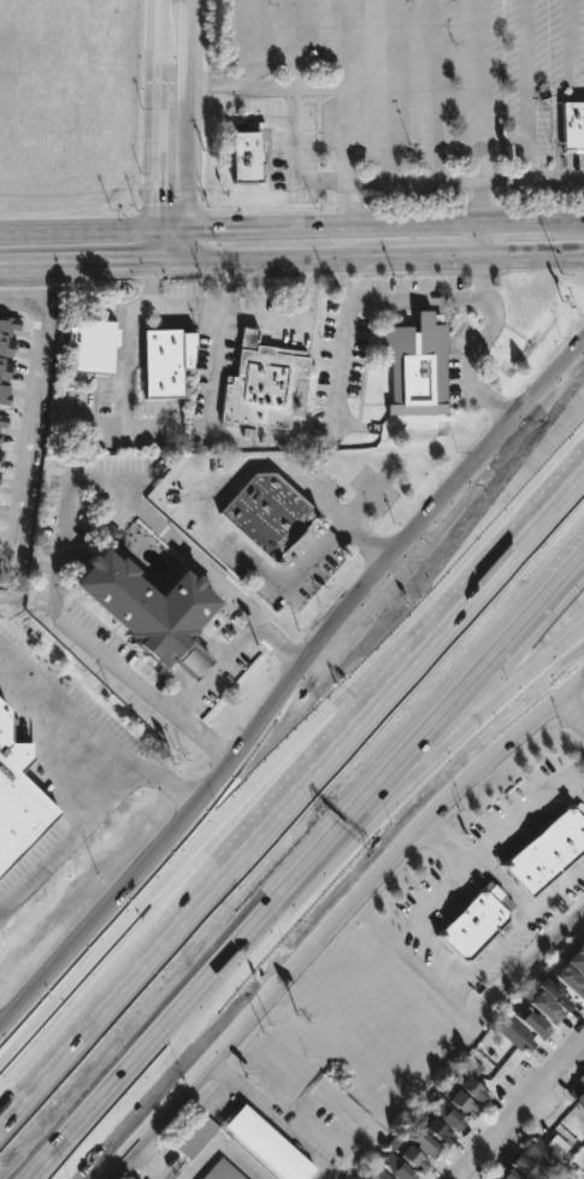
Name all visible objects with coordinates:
road: (572, 48)
road: (218, 84)
road: (323, 87)
road: (488, 112)
road: (187, 114)
building: (573, 125)
road: (154, 130)
building: (246, 157)
road: (289, 159)
road: (536, 178)
traffic signals: (153, 208)
road: (568, 224)
road: (512, 225)
road: (329, 228)
road: (76, 230)
road: (169, 230)
traffic signals: (201, 230)
road: (474, 241)
road: (185, 244)
road: (530, 255)
road: (429, 257)
road: (284, 258)
traffic signals: (129, 260)
road: (169, 260)
road: (75, 261)
road: (478, 277)
traffic signals: (152, 283)
road: (85, 302)
road: (19, 303)
road: (165, 307)
parking lot: (181, 307)
road: (349, 311)
road: (271, 320)
building: (93, 344)
building: (6, 354)
road: (125, 361)
building: (166, 361)
building: (418, 365)
road: (467, 370)
road: (217, 372)
building: (261, 382)
road: (530, 413)
building: (2, 422)
building: (0, 437)
road: (31, 441)
building: (1, 456)
building: (0, 473)
road: (219, 488)
road: (365, 502)
building: (269, 513)
road: (65, 515)
road: (5, 570)
building: (149, 609)
road: (219, 670)
road: (483, 674)
road: (568, 691)
road: (484, 711)
road: (568, 719)
road: (102, 723)
road: (284, 755)
road: (242, 766)
building: (17, 789)
road: (290, 795)
road: (523, 808)
road: (71, 837)
building: (547, 853)
building: (474, 924)
road: (326, 936)
building: (582, 948)
building: (577, 962)
road: (454, 965)
building: (571, 981)
road: (217, 984)
building: (555, 994)
building: (547, 1009)
building: (533, 1022)
building: (518, 1036)
road: (4, 1038)
building: (582, 1080)
building: (473, 1083)
building: (577, 1095)
road: (523, 1113)
building: (448, 1115)
road: (269, 1116)
building: (195, 1137)
building: (267, 1145)
building: (426, 1145)
road: (224, 1146)
building: (545, 1150)
building: (409, 1156)
road: (157, 1161)
building: (397, 1168)
building: (525, 1169)
building: (223, 1172)
building: (505, 1173)
building: (379, 1174)
building: (494, 1178)

